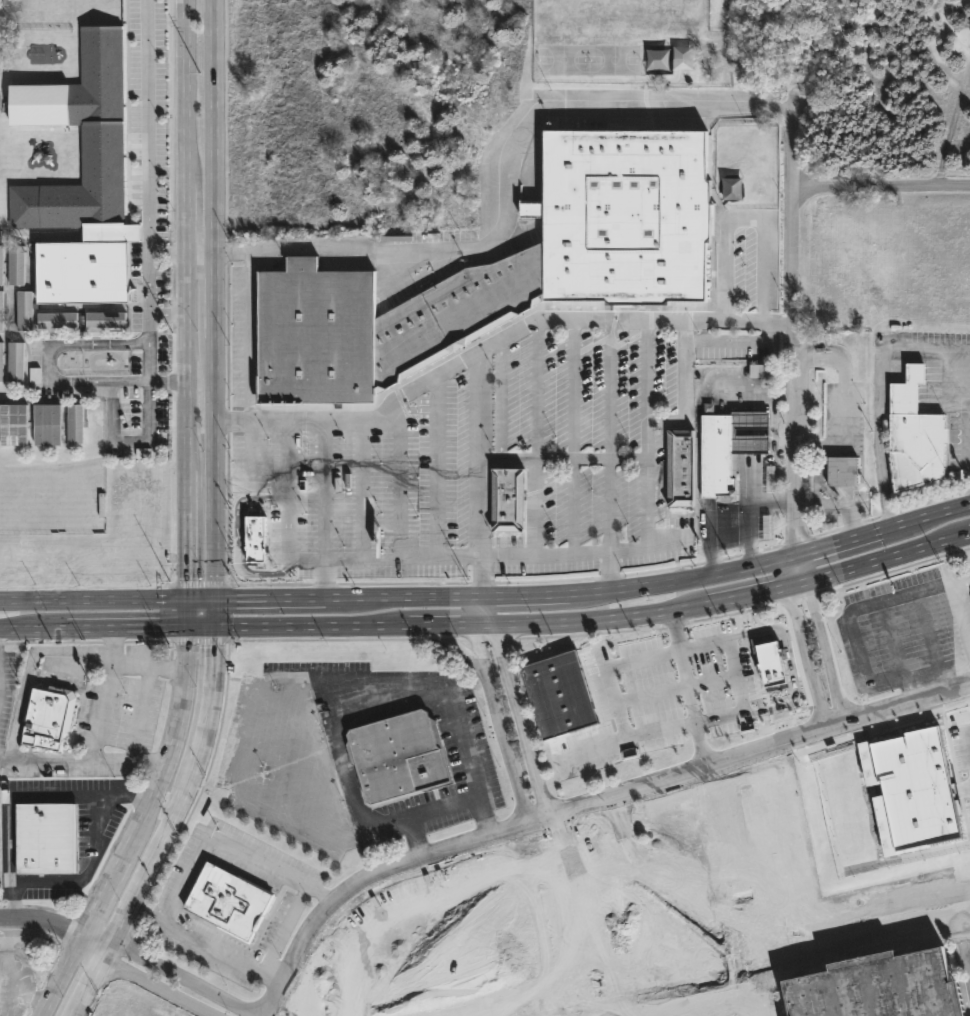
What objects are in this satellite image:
road: (147, 127)
road: (217, 129)
road: (495, 175)
road: (883, 188)
road: (744, 220)
road: (203, 258)
building: (1, 264)
building: (15, 266)
building: (500, 270)
building: (80, 274)
road: (797, 276)
road: (217, 297)
road: (149, 298)
road: (188, 300)
building: (24, 310)
building: (0, 311)
road: (168, 314)
building: (57, 320)
building: (104, 320)
parking lot: (945, 332)
road: (734, 340)
road: (496, 342)
road: (957, 354)
road: (967, 354)
building: (13, 361)
building: (2, 362)
road: (50, 365)
building: (757, 371)
road: (644, 376)
road: (168, 382)
road: (609, 389)
road: (765, 390)
road: (500, 399)
road: (149, 412)
road: (751, 419)
building: (95, 422)
road: (653, 422)
building: (46, 423)
building: (73, 423)
building: (12, 424)
road: (751, 431)
road: (967, 433)
road: (882, 434)
building: (915, 434)
road: (574, 436)
road: (538, 437)
road: (751, 443)
road: (807, 444)
road: (831, 444)
building: (728, 448)
road: (477, 455)
road: (573, 458)
road: (436, 467)
building: (680, 467)
road: (214, 468)
building: (842, 470)
road: (398, 478)
road: (363, 489)
road: (287, 490)
road: (323, 490)
building: (507, 498)
road: (609, 506)
road: (750, 509)
road: (721, 510)
road: (926, 521)
road: (969, 535)
building: (255, 539)
road: (839, 545)
road: (891, 558)
road: (296, 559)
road: (804, 567)
road: (792, 569)
road: (609, 574)
road: (481, 576)
traffic signals: (190, 578)
road: (323, 579)
road: (801, 579)
road: (682, 582)
road: (748, 592)
road: (525, 596)
road: (404, 598)
road: (269, 599)
road: (94, 600)
road: (201, 600)
traffic signals: (235, 600)
road: (478, 610)
road: (490, 610)
road: (213, 613)
road: (190, 614)
road: (603, 619)
road: (848, 619)
road: (486, 623)
road: (444, 624)
road: (314, 626)
road: (202, 627)
road: (127, 628)
traffic signals: (165, 628)
road: (33, 629)
road: (675, 630)
road: (227, 641)
traffic signals: (213, 648)
road: (682, 650)
road: (833, 651)
road: (808, 657)
road: (790, 663)
road: (132, 664)
building: (772, 666)
road: (211, 687)
road: (688, 687)
road: (926, 688)
building: (559, 694)
road: (367, 700)
road: (911, 708)
road: (141, 714)
building: (47, 716)
road: (524, 720)
road: (500, 726)
road: (840, 728)
road: (95, 747)
road: (593, 747)
road: (173, 748)
building: (397, 755)
road: (46, 758)
building: (911, 790)
road: (12, 799)
road: (441, 807)
road: (651, 824)
road: (514, 828)
building: (44, 838)
road: (158, 843)
road: (83, 861)
road: (545, 861)
road: (186, 878)
road: (699, 891)
road: (592, 894)
road: (102, 896)
building: (226, 901)
road: (648, 903)
road: (42, 918)
road: (287, 924)
road: (82, 934)
road: (101, 947)
road: (773, 953)
road: (567, 959)
road: (61, 975)
road: (187, 976)
road: (81, 987)
road: (153, 987)
building: (878, 987)
road: (713, 1011)

